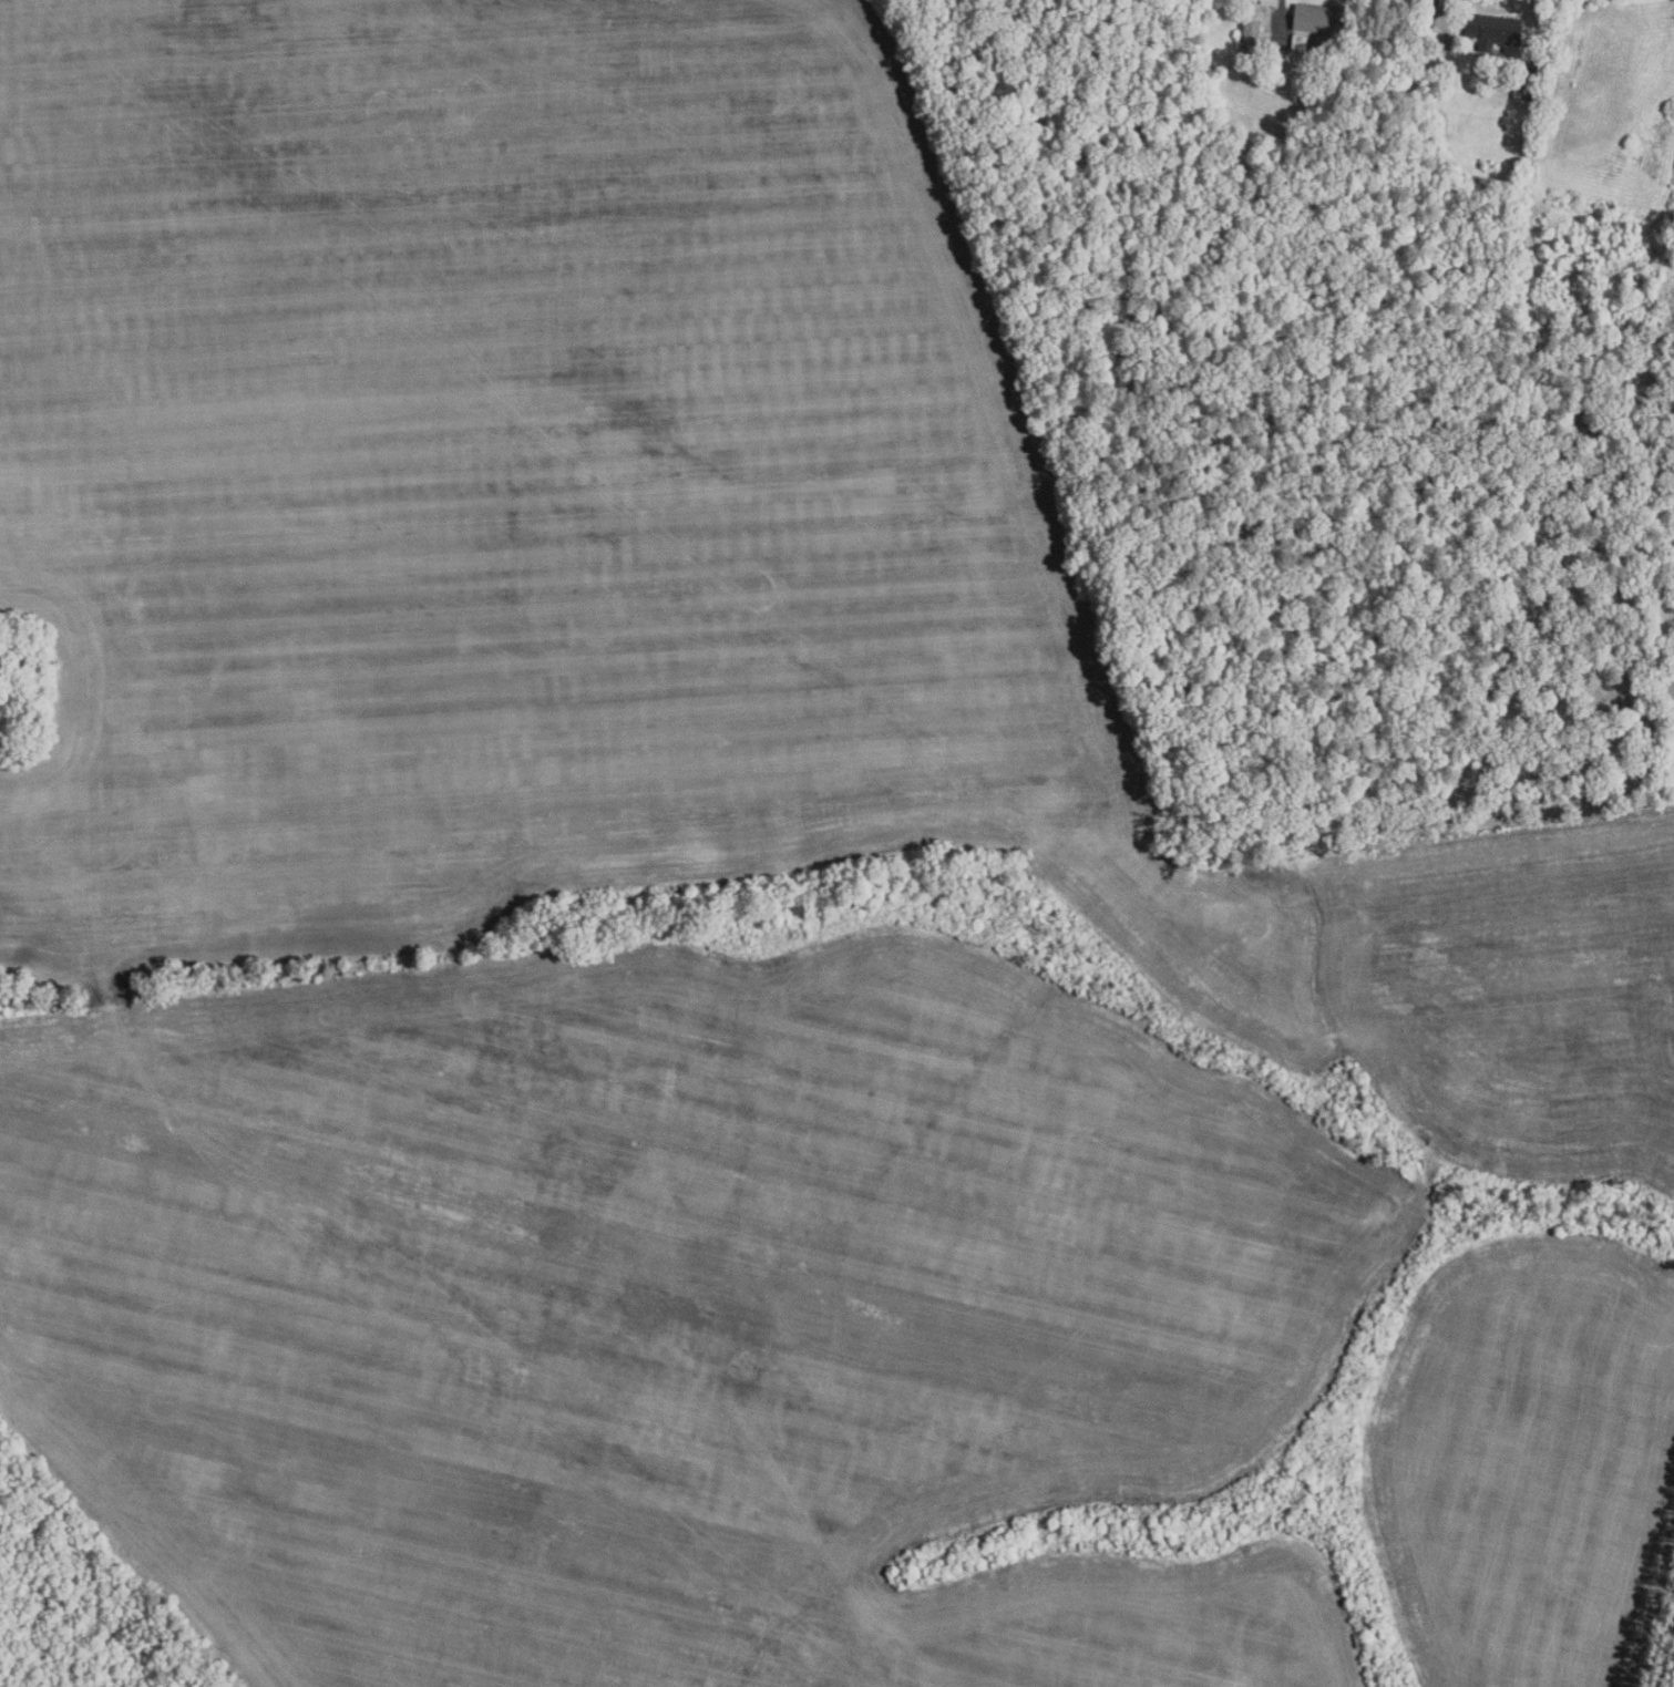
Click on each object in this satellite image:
road: (1434, 3)
building: (1319, 20)
building: (1493, 31)
building: (1249, 39)
building: (1300, 42)
building: (1536, 66)
building: (1526, 80)
building: (1522, 95)
building: (1624, 703)

